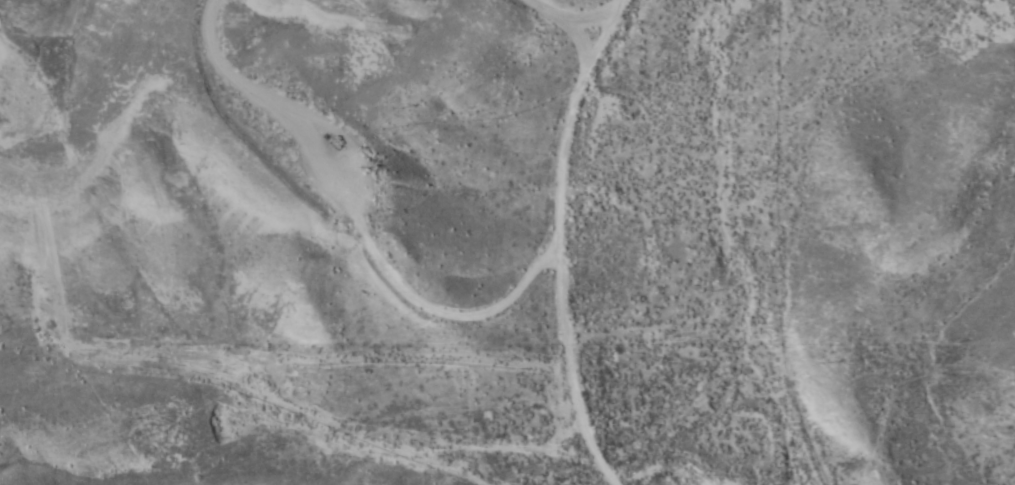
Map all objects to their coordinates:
road: (562, 231)

